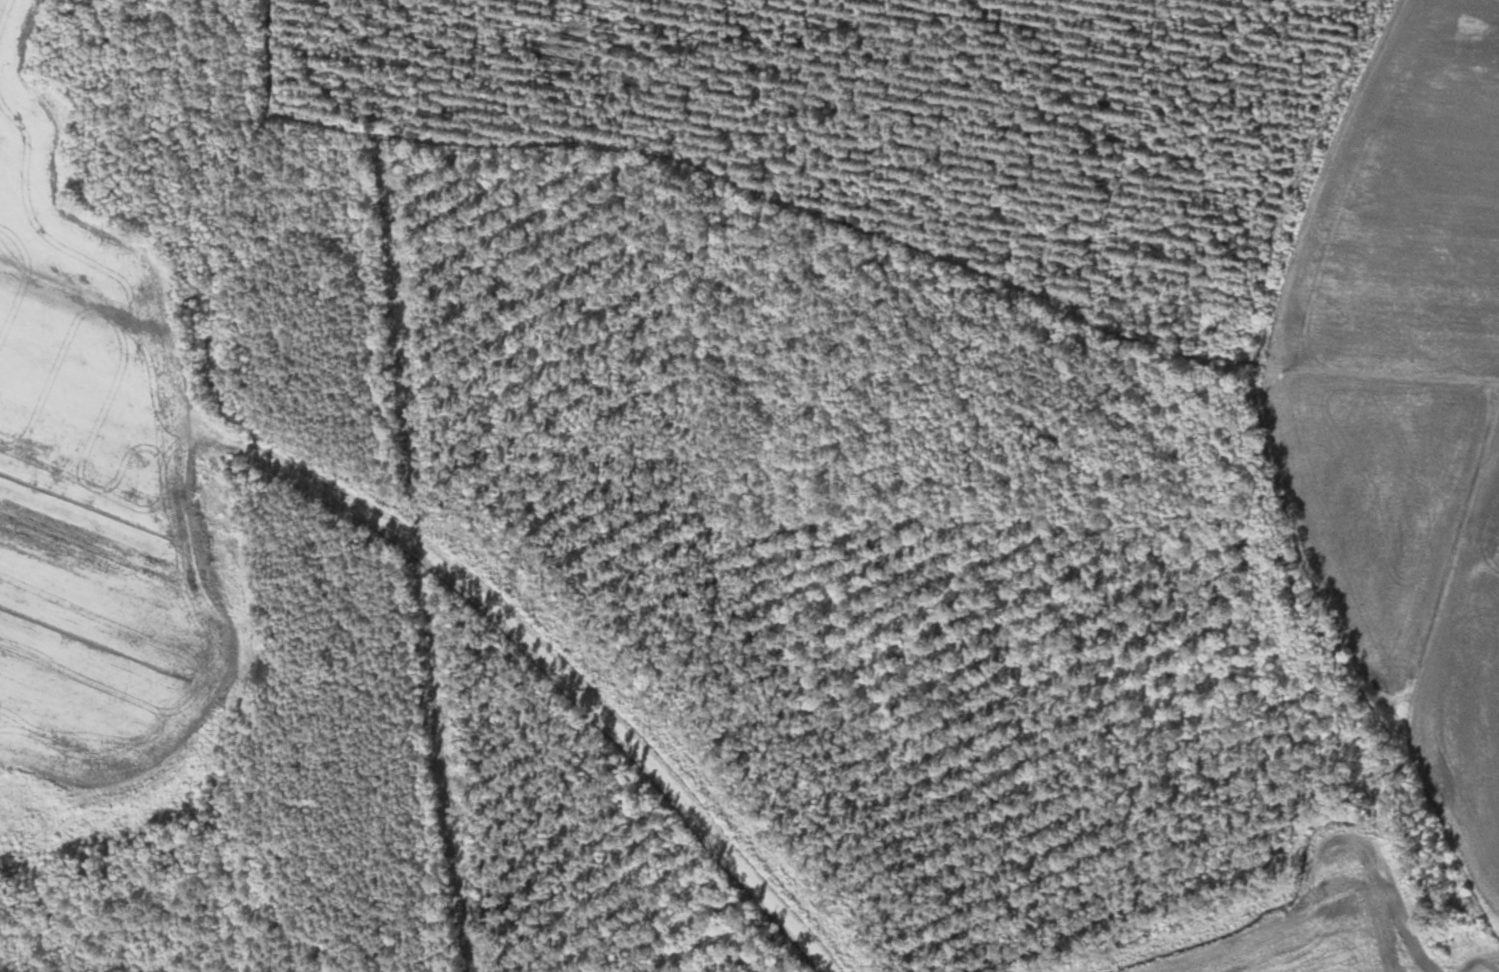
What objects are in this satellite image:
road: (444, 583)

